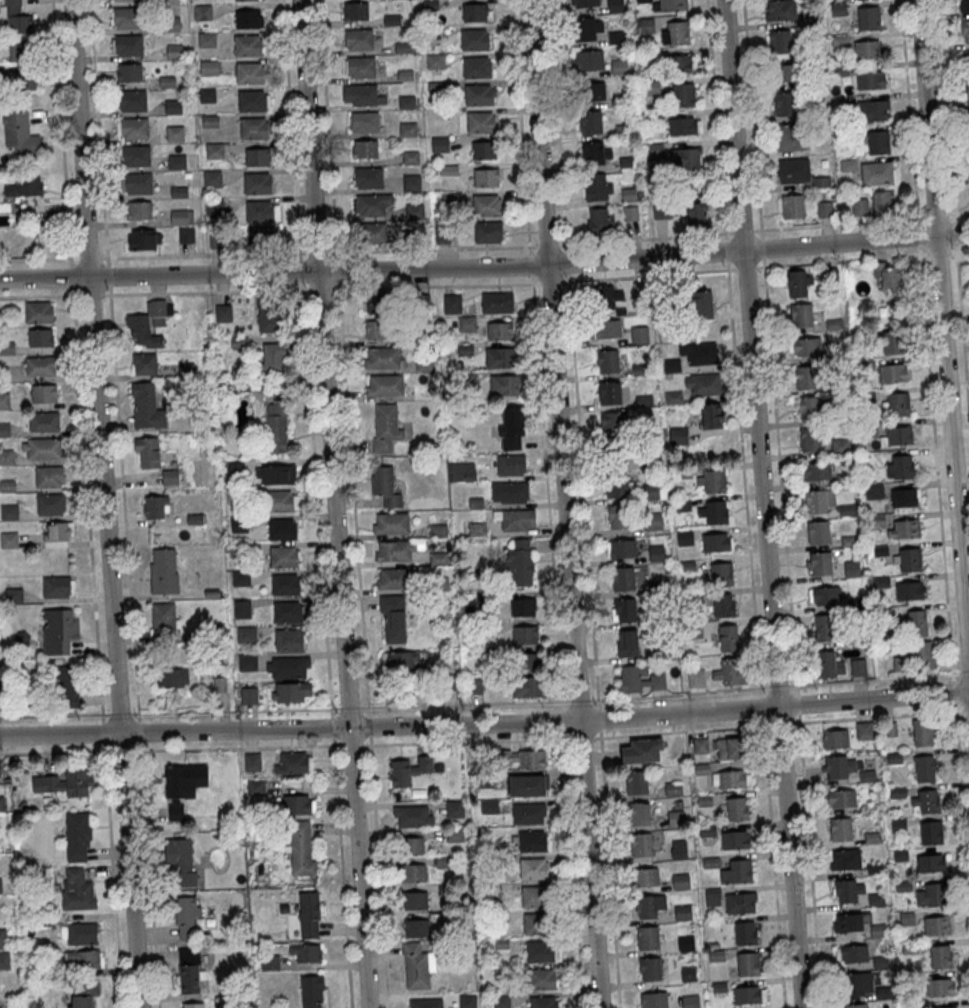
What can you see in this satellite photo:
building: (123, 0)
building: (643, 0)
building: (170, 1)
building: (585, 4)
building: (674, 5)
building: (615, 6)
building: (963, 7)
building: (355, 10)
building: (780, 10)
building: (202, 12)
building: (476, 12)
building: (126, 17)
building: (16, 18)
building: (248, 18)
building: (869, 18)
building: (645, 25)
building: (586, 29)
building: (675, 32)
building: (965, 32)
building: (359, 38)
building: (616, 38)
building: (206, 39)
building: (475, 39)
building: (780, 41)
building: (127, 45)
building: (247, 45)
building: (868, 49)
building: (21, 52)
building: (587, 61)
building: (965, 61)
building: (679, 63)
building: (477, 66)
building: (208, 67)
building: (359, 67)
building: (619, 67)
building: (129, 72)
building: (249, 73)
building: (786, 73)
building: (870, 79)
building: (23, 80)
building: (594, 91)
building: (207, 94)
building: (362, 94)
building: (479, 94)
building: (683, 94)
building: (967, 95)
building: (132, 100)
building: (251, 101)
building: (406, 101)
building: (784, 104)
building: (172, 106)
building: (873, 110)
road: (945, 110)
road: (908, 112)
building: (968, 114)
road: (752, 119)
road: (715, 120)
building: (364, 121)
building: (480, 121)
building: (591, 121)
road: (556, 125)
building: (684, 125)
road: (520, 127)
building: (132, 128)
building: (253, 128)
building: (408, 129)
road: (290, 130)
road: (327, 130)
road: (98, 132)
building: (20, 133)
road: (61, 133)
building: (174, 133)
building: (791, 137)
building: (878, 142)
building: (440, 144)
building: (365, 148)
building: (214, 150)
building: (482, 150)
building: (595, 151)
building: (135, 155)
building: (257, 156)
building: (685, 158)
building: (176, 162)
building: (793, 171)
building: (876, 173)
building: (367, 177)
building: (486, 177)
building: (212, 178)
building: (411, 182)
building: (257, 183)
building: (136, 184)
building: (27, 185)
building: (595, 187)
building: (178, 191)
building: (882, 201)
building: (371, 204)
building: (485, 204)
building: (792, 206)
building: (859, 206)
building: (825, 209)
building: (138, 210)
building: (259, 211)
building: (414, 211)
building: (696, 214)
road: (957, 214)
road: (935, 216)
building: (599, 221)
road: (837, 223)
road: (742, 230)
building: (371, 232)
building: (488, 232)
road: (953, 232)
road: (918, 235)
building: (261, 236)
road: (644, 237)
building: (143, 239)
road: (546, 245)
road: (762, 248)
road: (431, 249)
road: (958, 249)
road: (725, 250)
road: (303, 252)
road: (317, 252)
road: (938, 252)
road: (199, 254)
road: (38, 258)
road: (89, 258)
road: (840, 259)
road: (565, 261)
road: (530, 263)
road: (485, 267)
road: (745, 267)
road: (337, 269)
road: (300, 270)
road: (646, 274)
road: (107, 275)
road: (72, 276)
building: (829, 278)
building: (886, 279)
road: (548, 281)
road: (434, 285)
building: (797, 285)
road: (320, 288)
road: (205, 290)
road: (91, 294)
road: (40, 295)
building: (609, 298)
building: (497, 302)
building: (452, 303)
building: (699, 303)
building: (377, 304)
building: (38, 311)
building: (223, 313)
building: (801, 318)
building: (269, 319)
building: (148, 323)
building: (467, 324)
building: (832, 326)
building: (377, 329)
building: (607, 329)
building: (500, 331)
road: (962, 332)
building: (639, 335)
building: (40, 337)
building: (858, 337)
road: (944, 340)
building: (892, 344)
building: (805, 349)
building: (697, 354)
building: (273, 355)
building: (835, 355)
building: (499, 357)
building: (383, 358)
building: (608, 362)
building: (144, 363)
building: (40, 366)
building: (865, 367)
building: (891, 375)
building: (805, 380)
building: (504, 385)
building: (702, 385)
building: (384, 386)
building: (835, 388)
building: (609, 392)
building: (43, 393)
building: (865, 398)
building: (4, 400)
building: (146, 406)
building: (897, 407)
building: (810, 411)
building: (711, 416)
building: (44, 422)
building: (612, 422)
building: (275, 426)
building: (385, 427)
building: (511, 427)
building: (4, 429)
building: (868, 432)
building: (677, 436)
building: (898, 438)
building: (809, 442)
building: (42, 448)
building: (839, 448)
building: (147, 452)
building: (6, 457)
road: (935, 463)
building: (511, 464)
building: (899, 469)
building: (463, 471)
building: (816, 474)
building: (278, 475)
road: (780, 475)
building: (49, 476)
building: (616, 477)
road: (743, 478)
building: (713, 480)
building: (843, 482)
building: (7, 485)
building: (385, 486)
road: (582, 489)
road: (546, 491)
building: (510, 492)
building: (650, 492)
building: (873, 494)
road: (353, 497)
road: (316, 498)
building: (903, 500)
building: (279, 502)
road: (87, 503)
road: (105, 503)
road: (124, 503)
road: (334, 503)
building: (818, 503)
building: (49, 504)
road: (564, 504)
road: (763, 504)
building: (155, 507)
building: (8, 512)
building: (713, 512)
building: (846, 512)
building: (619, 518)
building: (516, 520)
building: (875, 522)
building: (653, 523)
building: (391, 525)
building: (281, 529)
building: (58, 531)
building: (903, 531)
building: (817, 535)
building: (683, 538)
building: (9, 539)
building: (716, 542)
building: (848, 543)
building: (621, 550)
building: (395, 552)
building: (879, 553)
building: (656, 554)
building: (284, 556)
building: (521, 562)
building: (909, 562)
building: (819, 566)
building: (163, 571)
building: (851, 571)
building: (721, 574)
building: (240, 578)
building: (391, 579)
building: (622, 580)
building: (285, 584)
building: (880, 584)
building: (57, 586)
building: (908, 593)
building: (13, 595)
building: (825, 598)
building: (723, 605)
building: (854, 605)
building: (522, 607)
building: (243, 609)
building: (624, 610)
building: (287, 611)
building: (881, 616)
building: (393, 617)
building: (163, 619)
building: (916, 626)
building: (822, 630)
building: (57, 631)
building: (246, 634)
building: (524, 634)
building: (726, 638)
building: (288, 639)
building: (852, 639)
building: (628, 643)
building: (403, 660)
building: (527, 661)
building: (916, 661)
building: (247, 662)
building: (287, 667)
building: (828, 667)
building: (857, 670)
road: (963, 671)
building: (729, 672)
building: (171, 678)
building: (696, 678)
road: (873, 678)
building: (640, 679)
building: (66, 685)
road: (778, 686)
building: (526, 687)
road: (953, 690)
building: (291, 692)
road: (678, 693)
building: (248, 695)
road: (579, 700)
road: (797, 702)
road: (463, 704)
road: (761, 706)
road: (348, 707)
road: (965, 708)
road: (234, 710)
road: (120, 713)
road: (55, 714)
road: (876, 714)
road: (598, 718)
road: (562, 719)
road: (780, 722)
road: (485, 723)
road: (368, 725)
road: (332, 727)
road: (681, 729)
road: (139, 730)
building: (864, 730)
road: (103, 731)
building: (924, 732)
road: (581, 736)
building: (834, 739)
road: (466, 741)
road: (350, 744)
building: (701, 745)
road: (170, 748)
building: (730, 748)
building: (642, 750)
building: (521, 758)
building: (252, 762)
building: (292, 764)
building: (839, 767)
building: (0, 768)
building: (924, 768)
building: (408, 769)
building: (731, 779)
building: (67, 782)
building: (636, 782)
building: (528, 785)
building: (255, 787)
building: (672, 788)
building: (174, 793)
road: (961, 794)
building: (841, 799)
building: (925, 801)
building: (1, 802)
building: (298, 804)
building: (490, 806)
building: (454, 808)
building: (737, 808)
building: (528, 813)
building: (638, 814)
building: (413, 816)
building: (675, 818)
building: (898, 825)
building: (840, 830)
building: (930, 833)
building: (455, 835)
building: (78, 836)
building: (735, 839)
building: (532, 840)
building: (413, 845)
building: (641, 845)
building: (679, 848)
building: (301, 849)
building: (183, 859)
building: (844, 859)
road: (809, 860)
road: (773, 861)
building: (930, 863)
building: (533, 868)
road: (572, 868)
road: (609, 868)
road: (378, 871)
building: (737, 871)
road: (341, 872)
building: (413, 872)
road: (112, 874)
road: (149, 874)
building: (646, 877)
building: (680, 881)
building: (0, 885)
building: (77, 889)
building: (848, 890)
building: (491, 893)
building: (930, 894)
building: (534, 895)
building: (711, 897)
building: (414, 900)
building: (741, 902)
building: (651, 906)
building: (682, 912)
building: (309, 914)
building: (187, 918)
building: (849, 922)
building: (536, 923)
building: (937, 925)
building: (417, 928)
building: (82, 933)
building: (745, 933)
building: (648, 937)
building: (686, 944)
building: (4, 950)
building: (540, 951)
building: (305, 952)
building: (851, 953)
building: (940, 956)
building: (85, 958)
building: (748, 963)
building: (417, 965)
building: (270, 967)
building: (650, 968)
building: (190, 971)
building: (688, 973)
building: (542, 978)
building: (857, 984)
building: (940, 987)
building: (312, 991)
building: (82, 993)
building: (749, 994)
building: (501, 1000)
building: (654, 1000)
building: (467, 1001)
building: (691, 1001)
building: (543, 1002)
building: (426, 1003)
building: (192, 1005)
building: (854, 1006)
building: (945, 1007)

